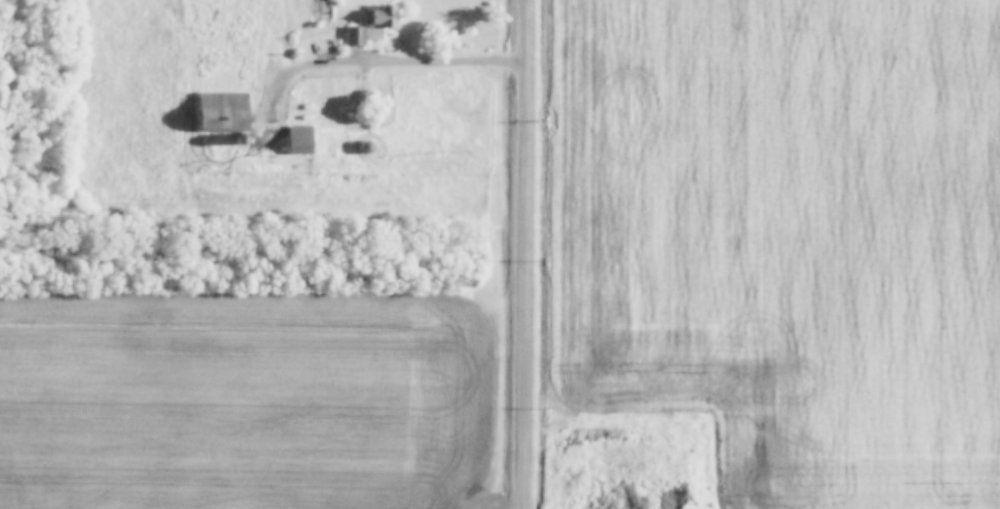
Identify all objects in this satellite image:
building: (380, 21)
building: (356, 36)
road: (397, 65)
building: (221, 112)
building: (240, 139)
silo: (240, 139)
building: (299, 141)
building: (366, 148)
silo: (366, 148)
road: (525, 254)

